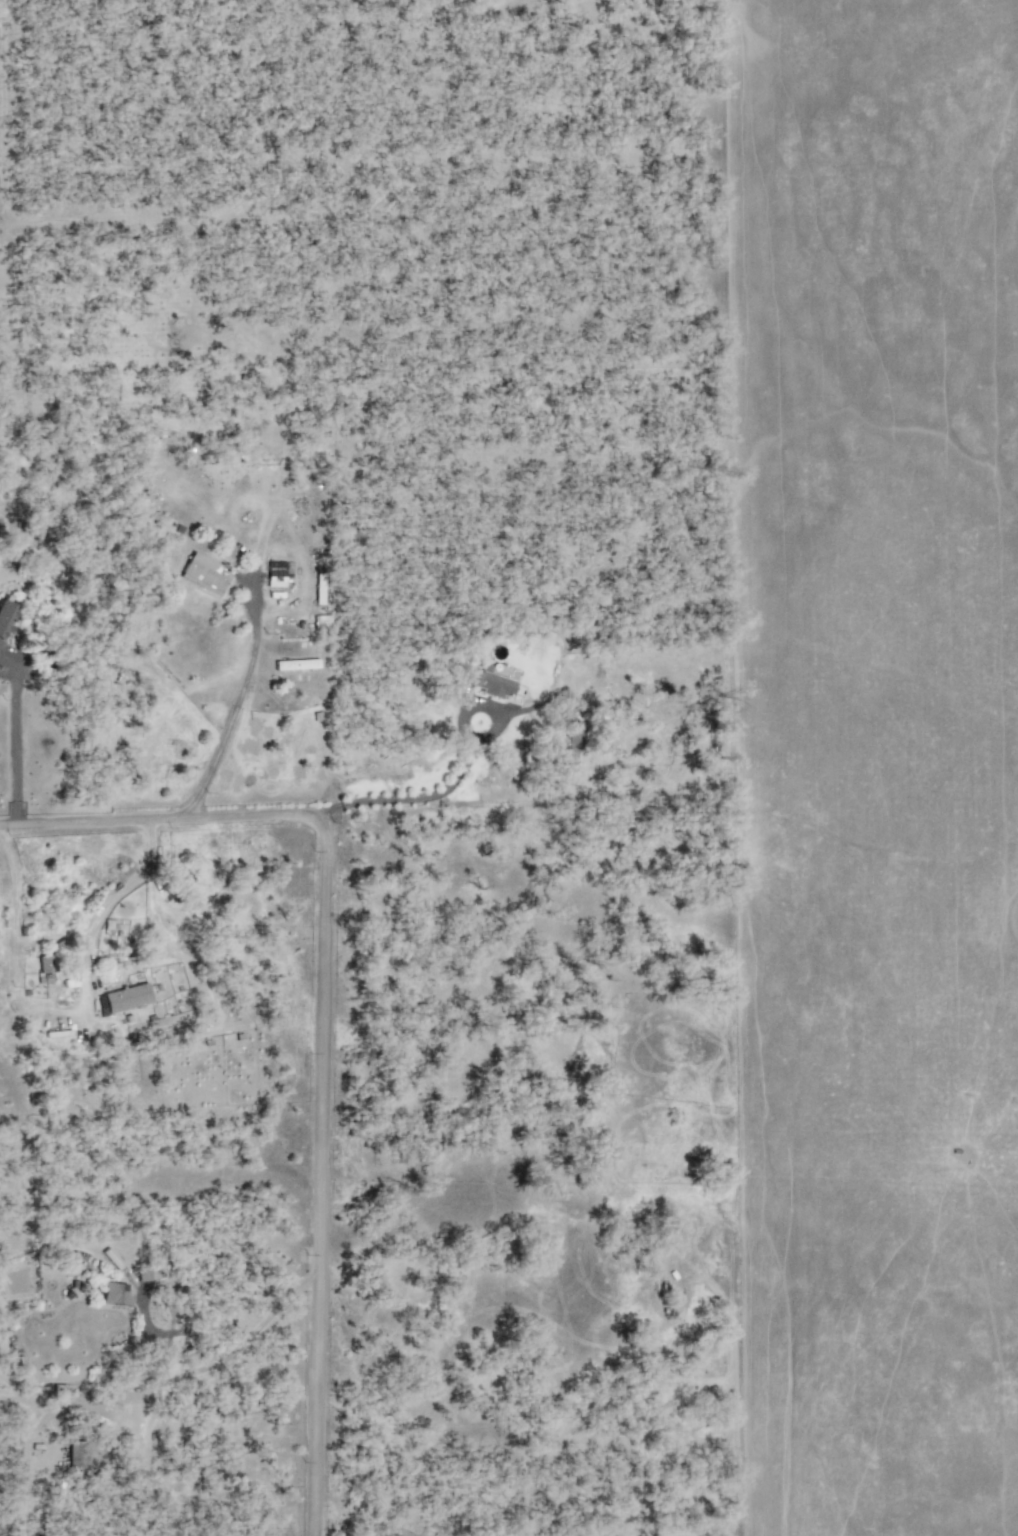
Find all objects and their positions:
building: (206, 573)
building: (279, 573)
building: (5, 617)
building: (492, 685)
road: (233, 708)
building: (572, 736)
road: (13, 738)
road: (416, 791)
road: (120, 888)
building: (45, 964)
building: (123, 999)
road: (327, 1007)
building: (112, 1258)
building: (143, 1274)
building: (115, 1293)
road: (737, 1449)
building: (78, 1455)

